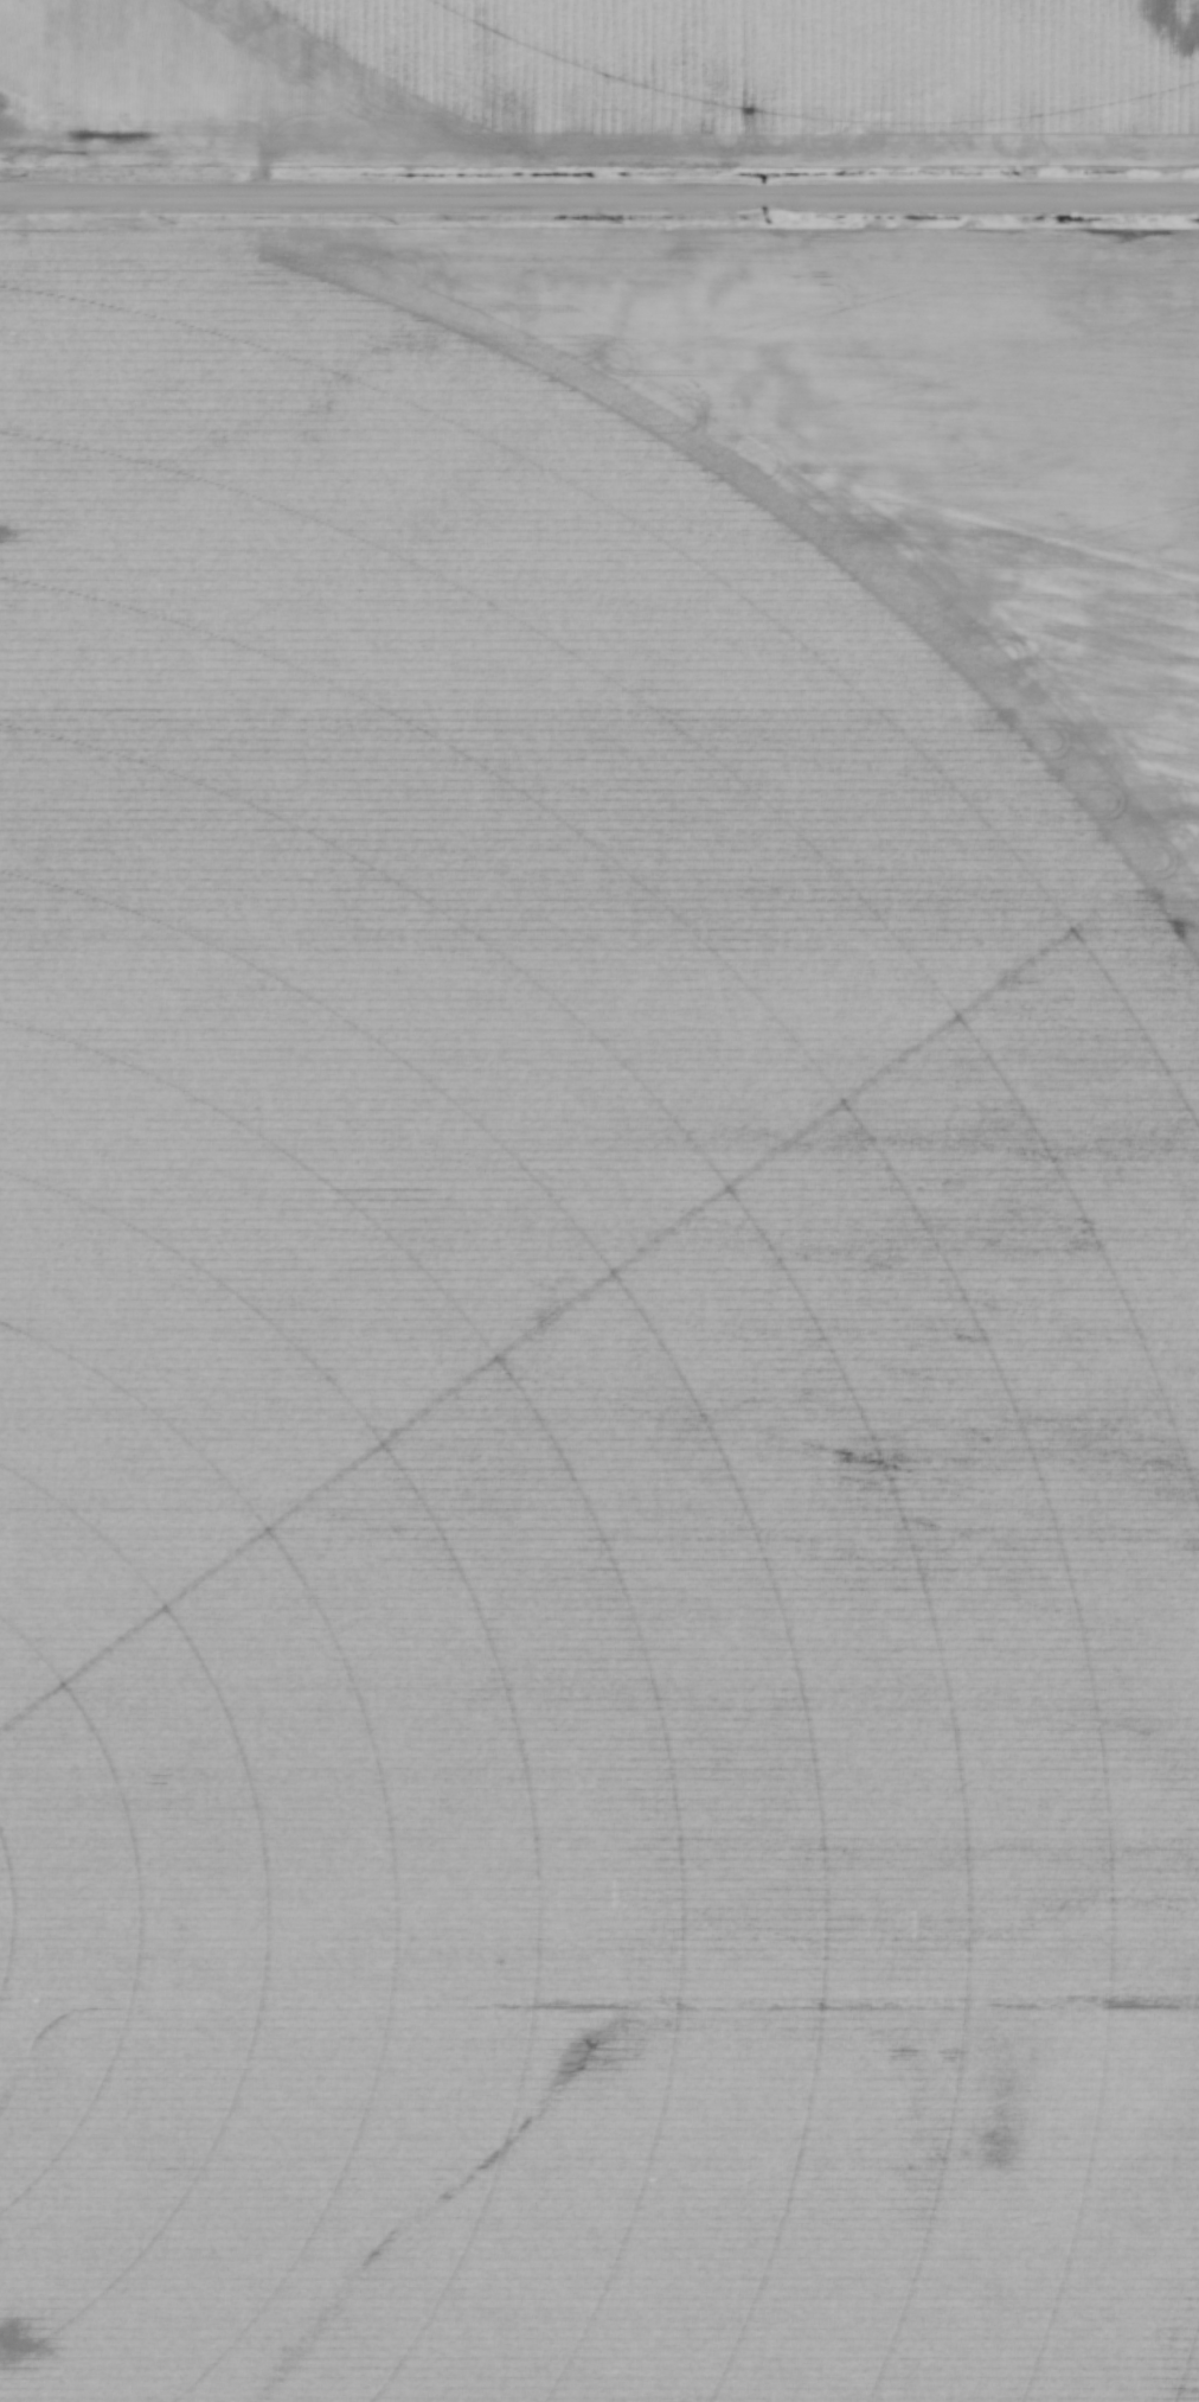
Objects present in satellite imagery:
road: (598, 202)

